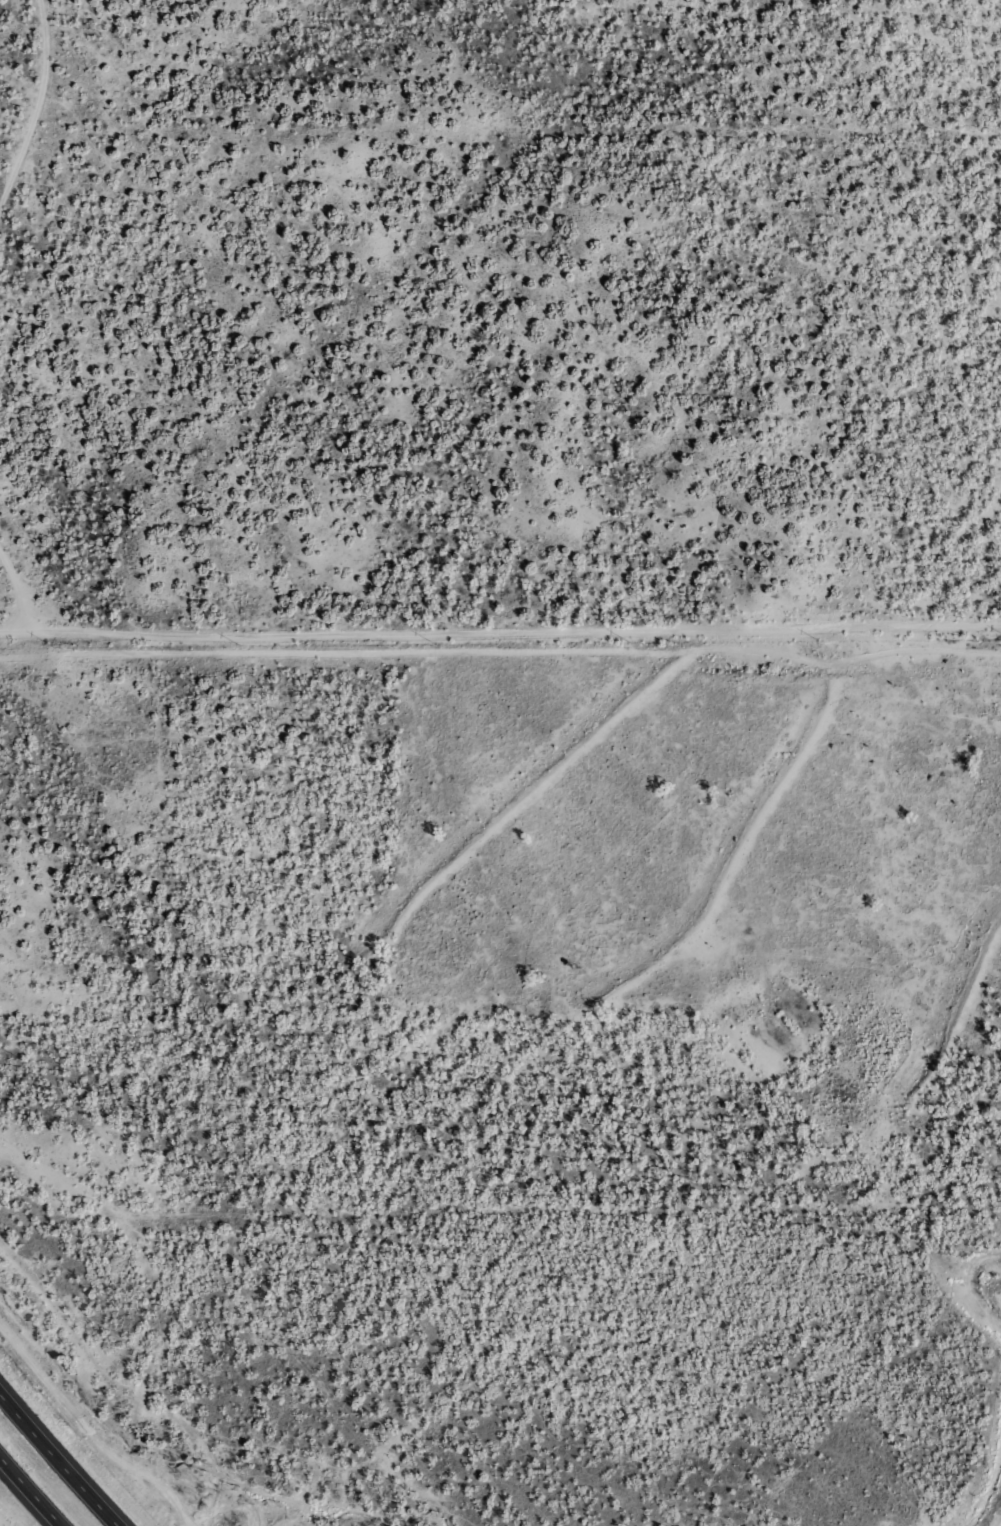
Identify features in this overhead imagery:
road: (79, 189)
road: (36, 657)
road: (500, 713)
road: (59, 1460)
road: (33, 1489)

